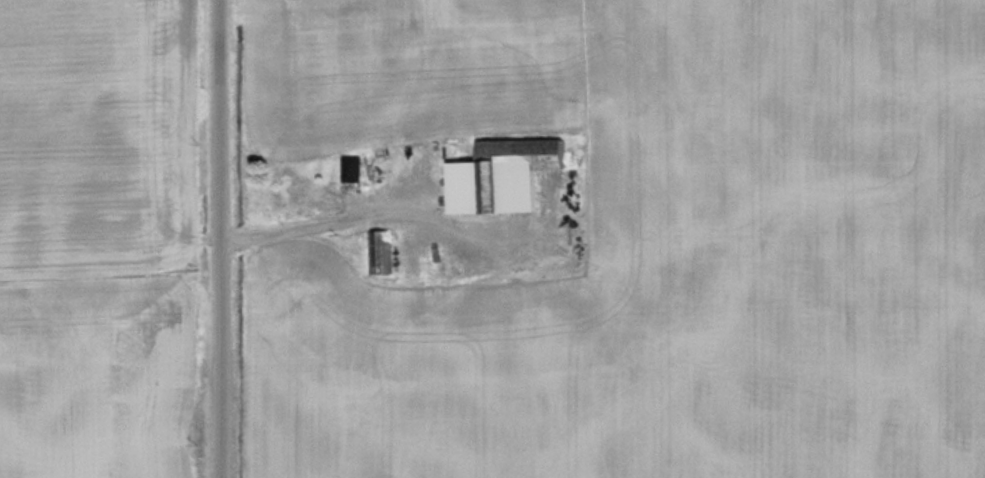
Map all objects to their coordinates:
building: (358, 168)
building: (516, 176)
road: (218, 239)
building: (383, 252)

